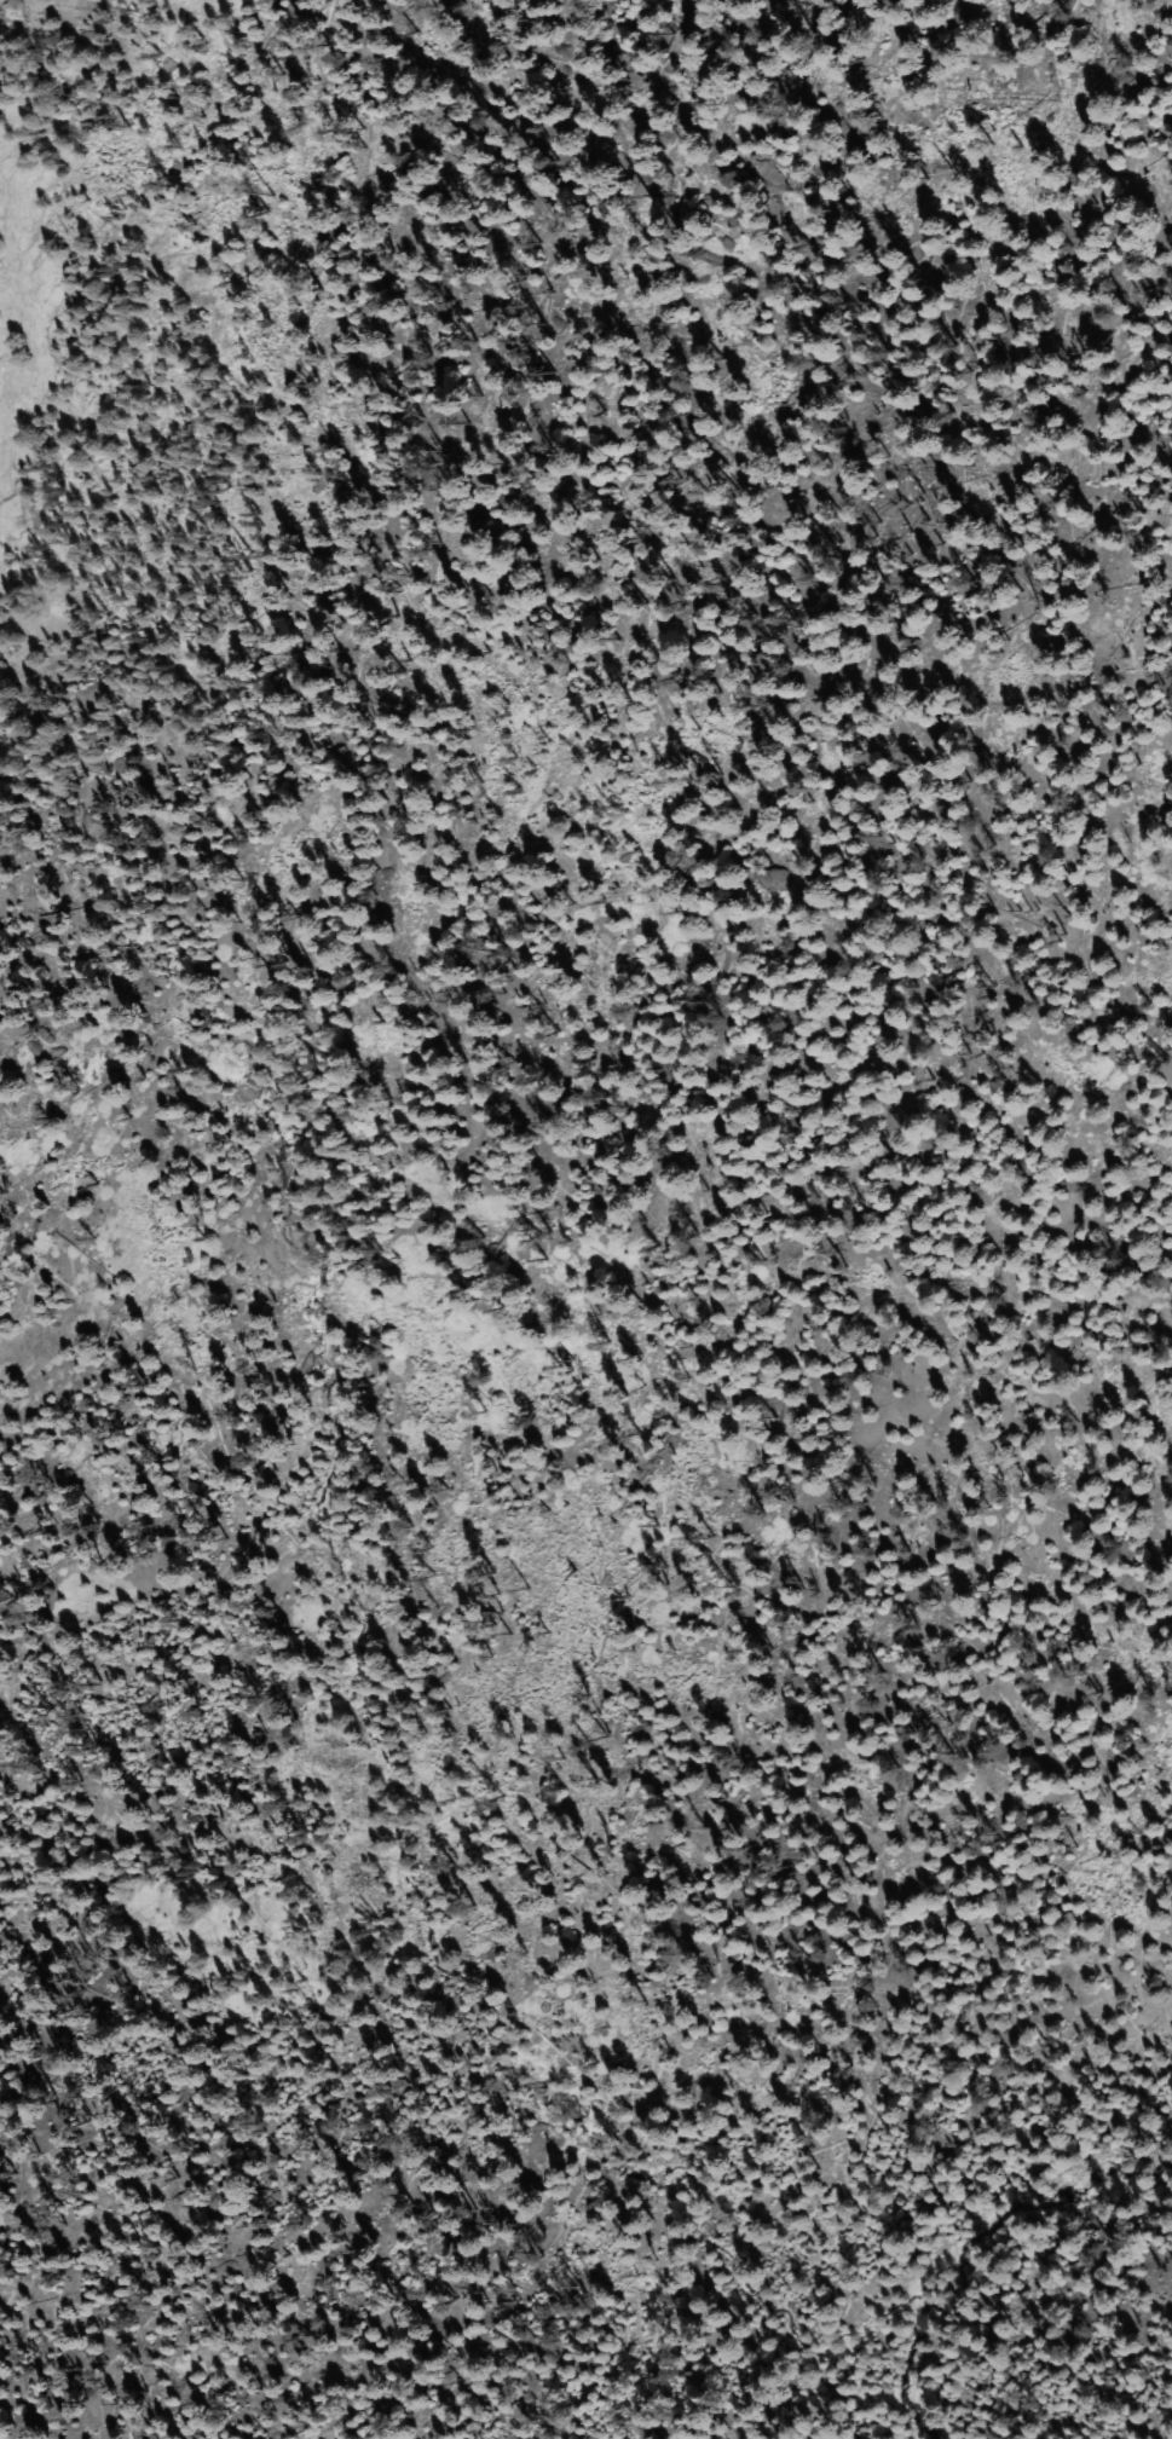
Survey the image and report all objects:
road: (641, 1568)

